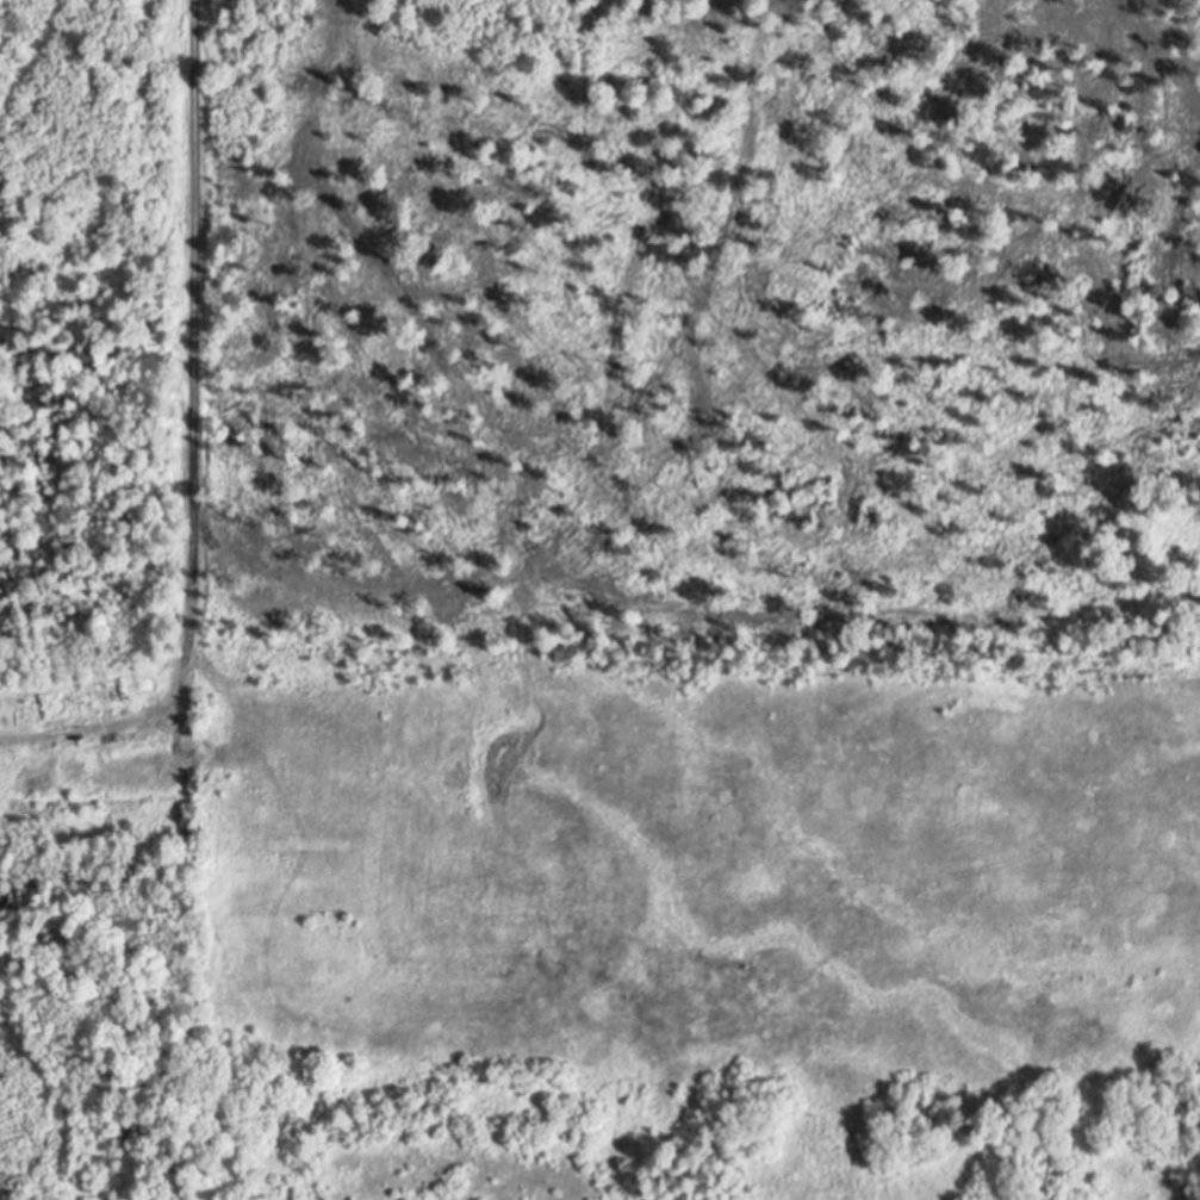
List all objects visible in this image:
road: (191, 334)
building: (81, 697)
building: (131, 875)

